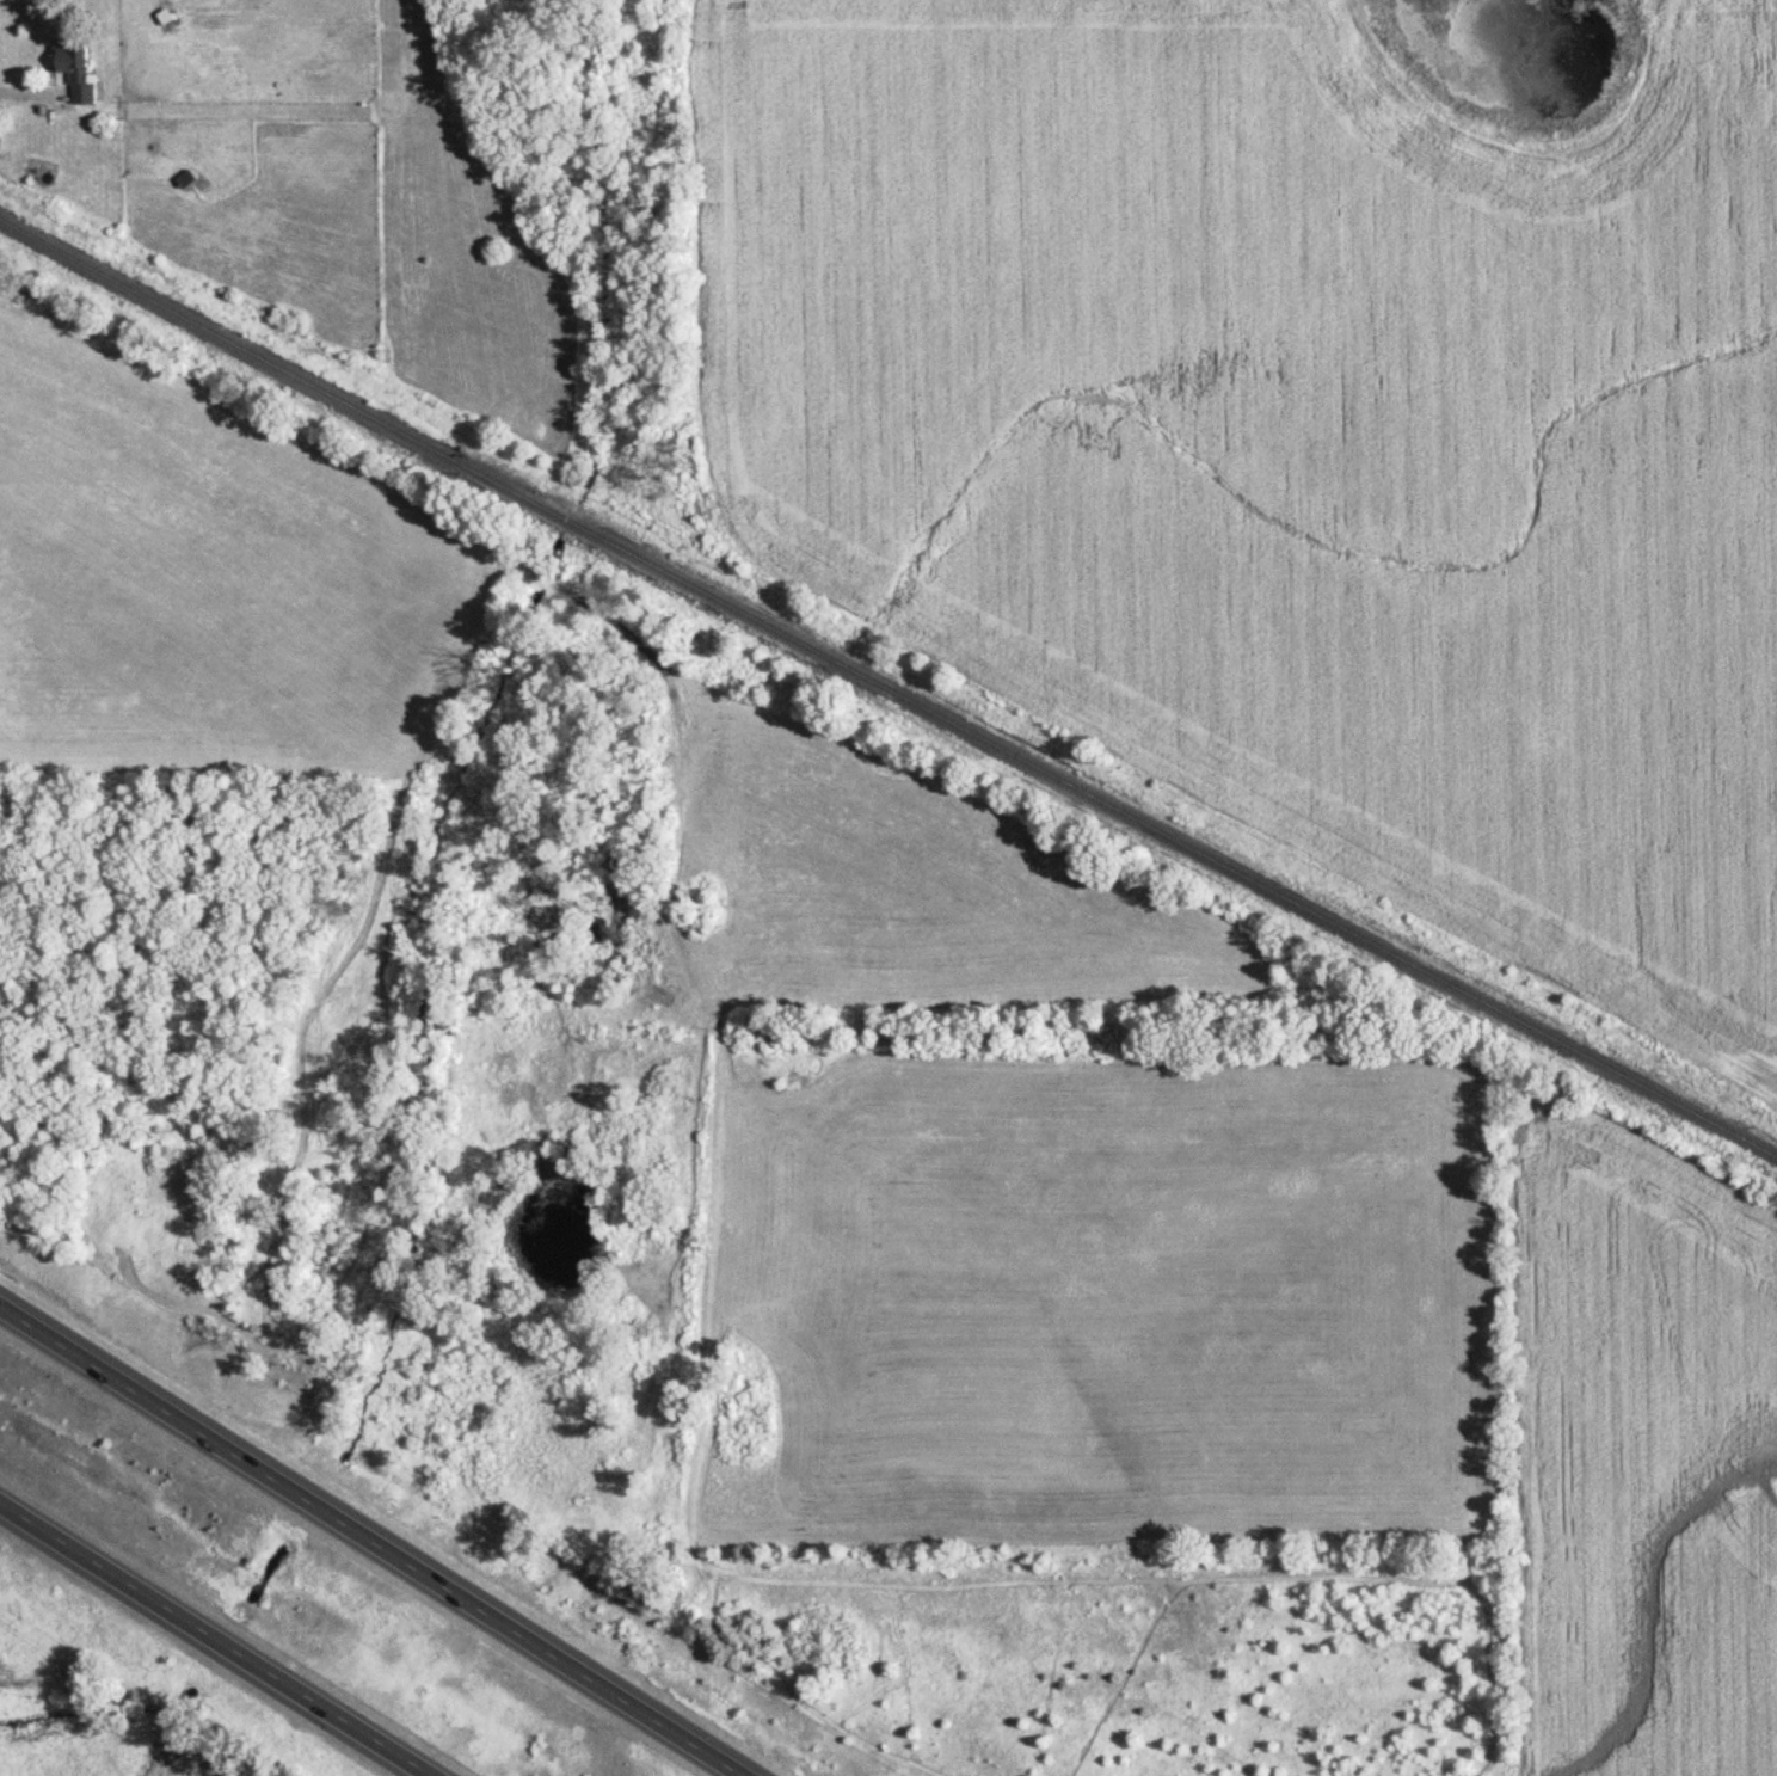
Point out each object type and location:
building: (75, 70)
road: (32, 85)
railway: (887, 684)
road: (375, 1540)
road: (209, 1641)

